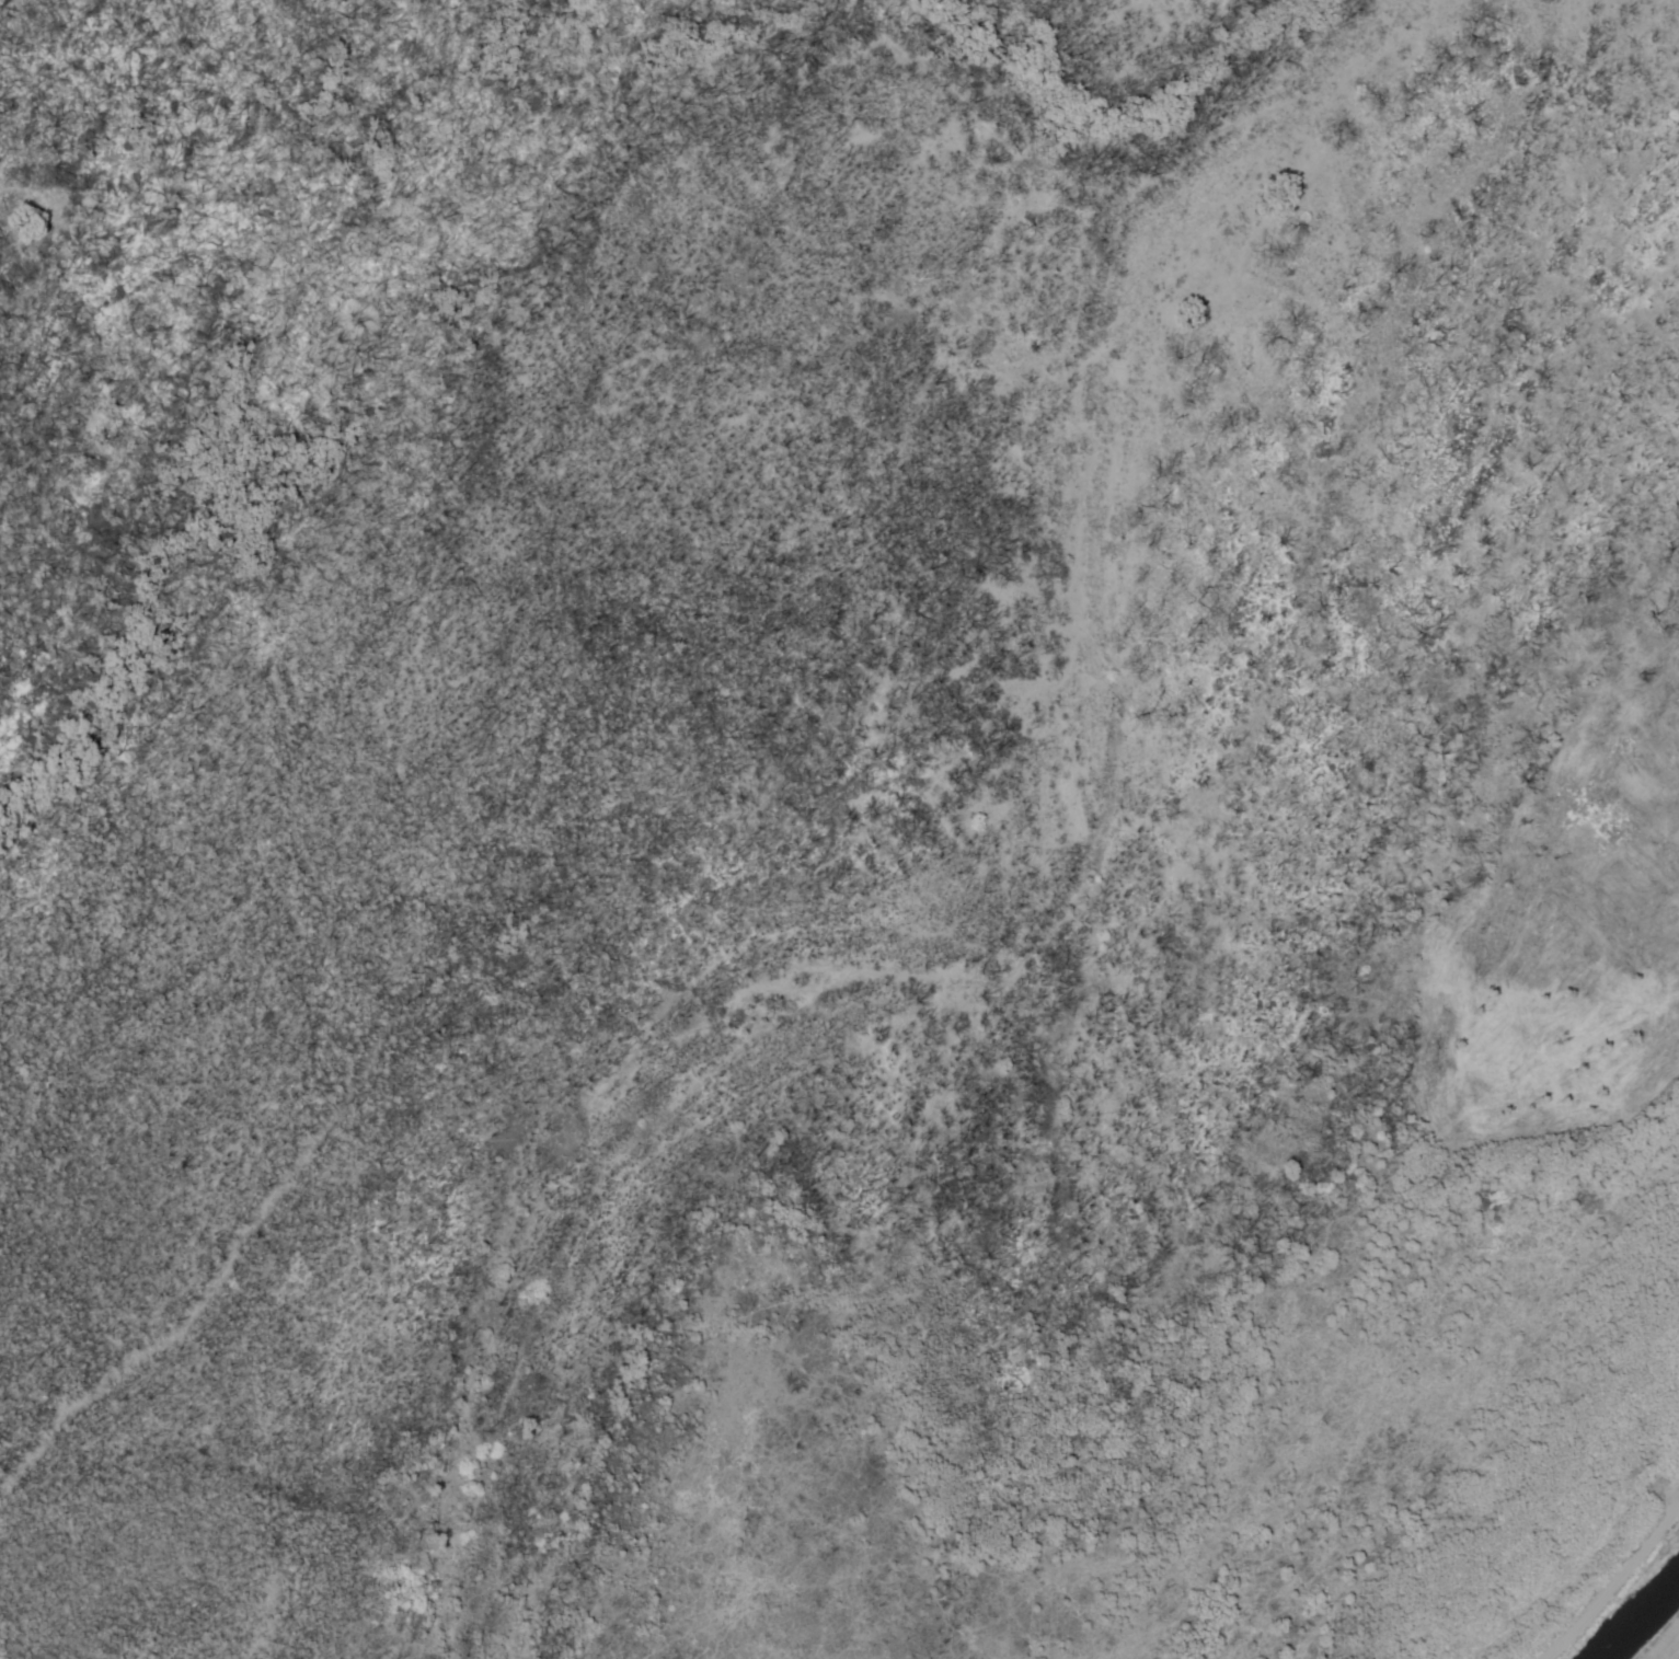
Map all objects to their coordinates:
road: (1611, 1581)

